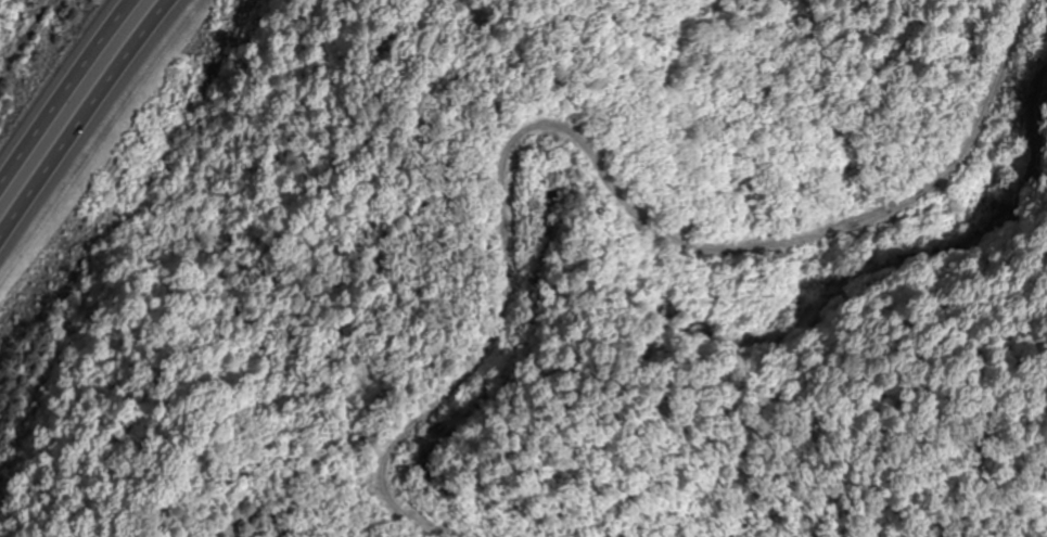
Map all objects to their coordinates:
road: (68, 99)
road: (85, 122)

